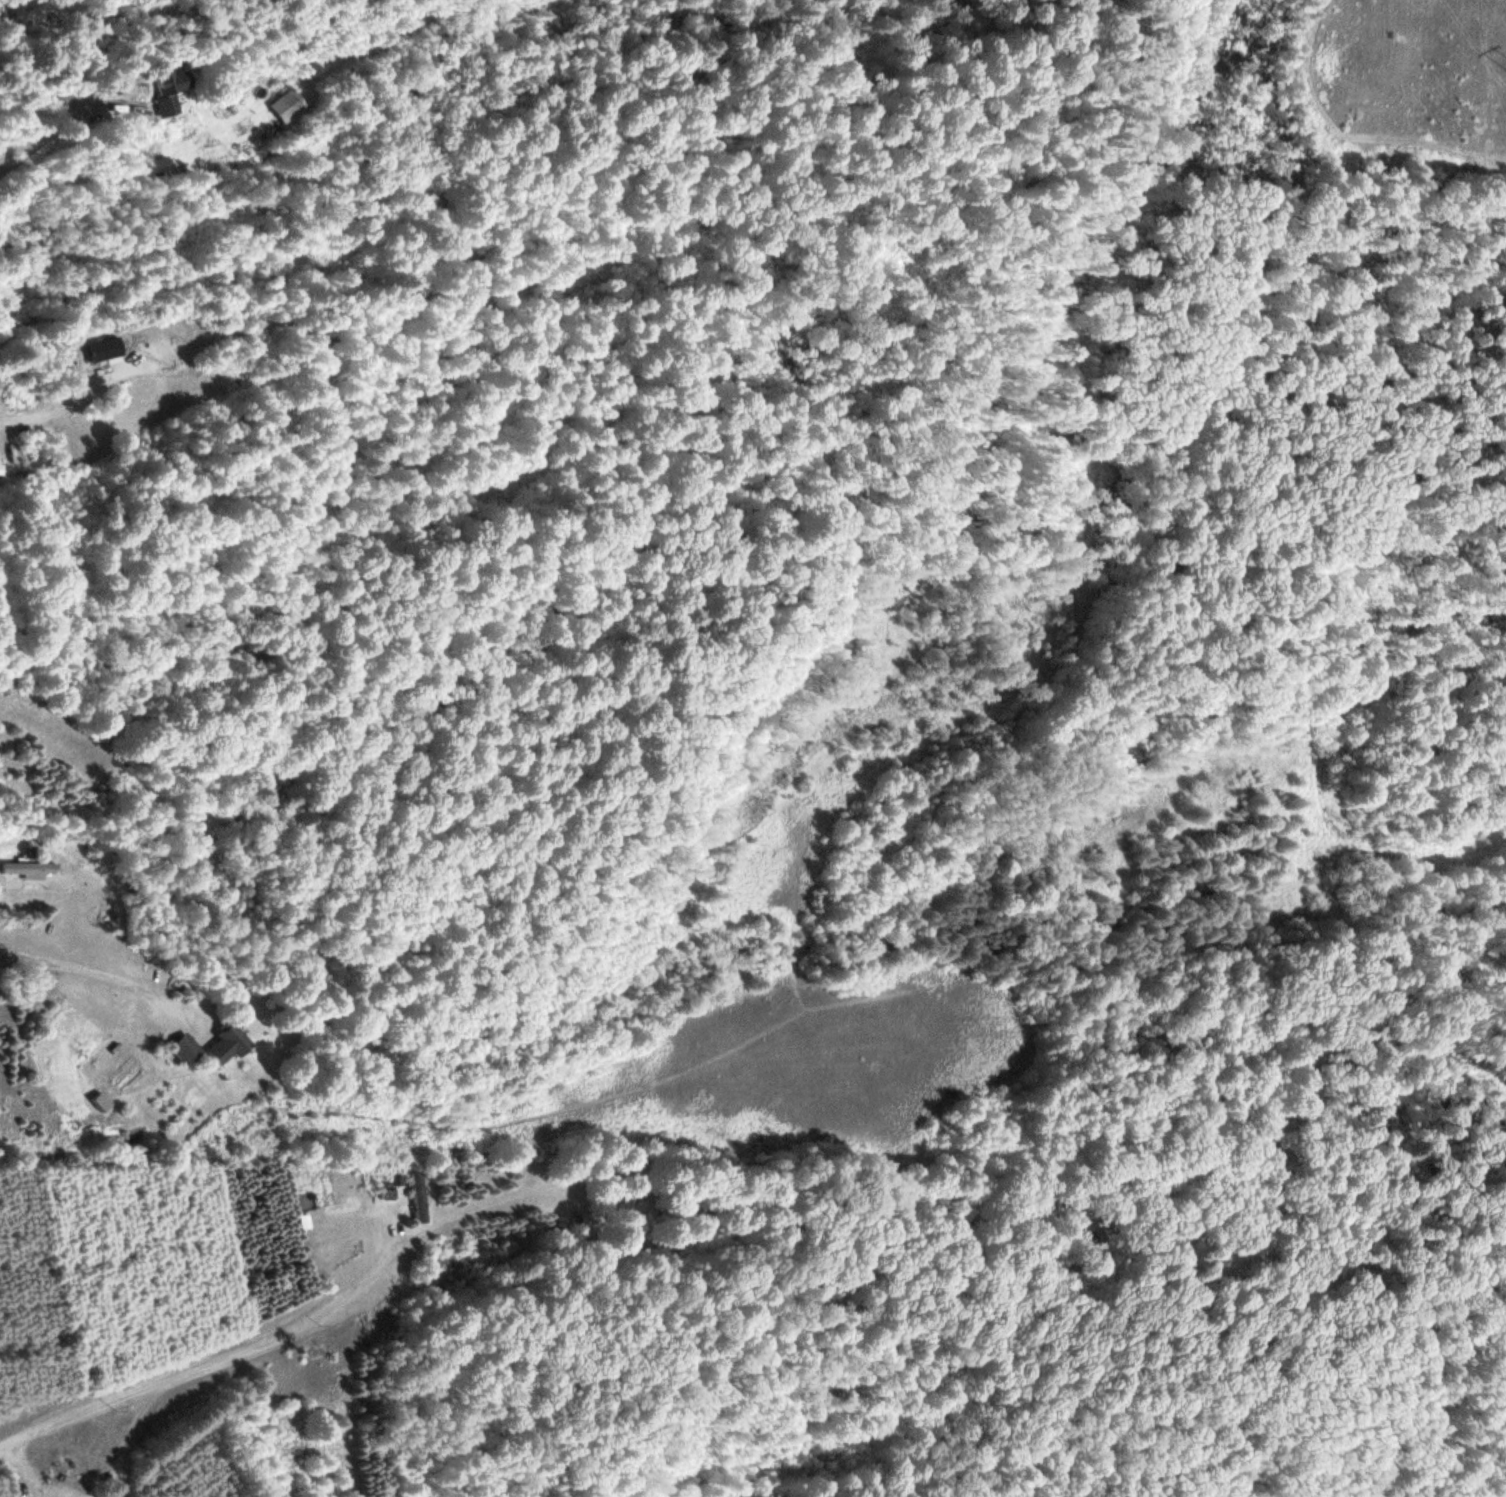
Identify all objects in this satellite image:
building: (160, 90)
building: (286, 107)
road: (56, 117)
building: (94, 351)
road: (53, 419)
building: (14, 454)
building: (24, 872)
building: (222, 1044)
building: (179, 1050)
road: (538, 1171)
building: (629, 1194)
building: (412, 1201)
road: (322, 1322)

